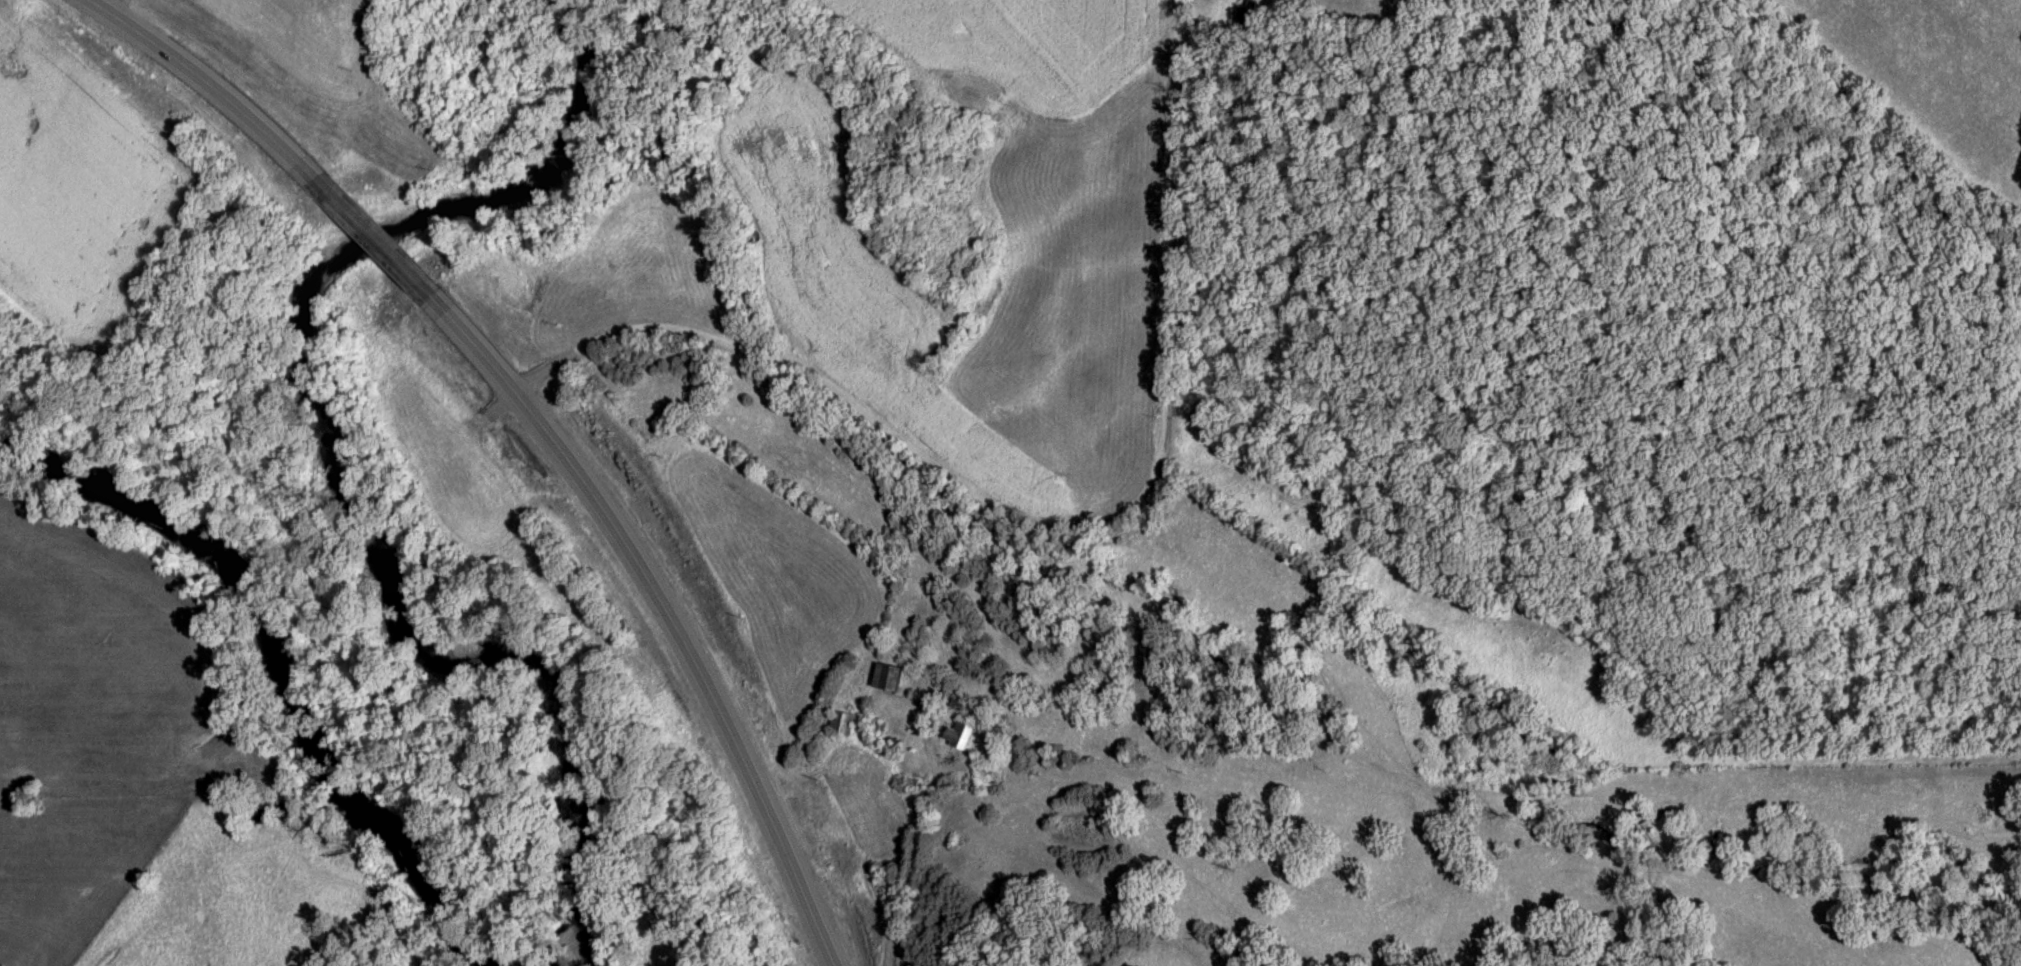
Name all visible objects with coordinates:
road: (530, 421)
river: (333, 471)
river: (285, 669)
building: (886, 679)
building: (840, 724)
building: (958, 737)

